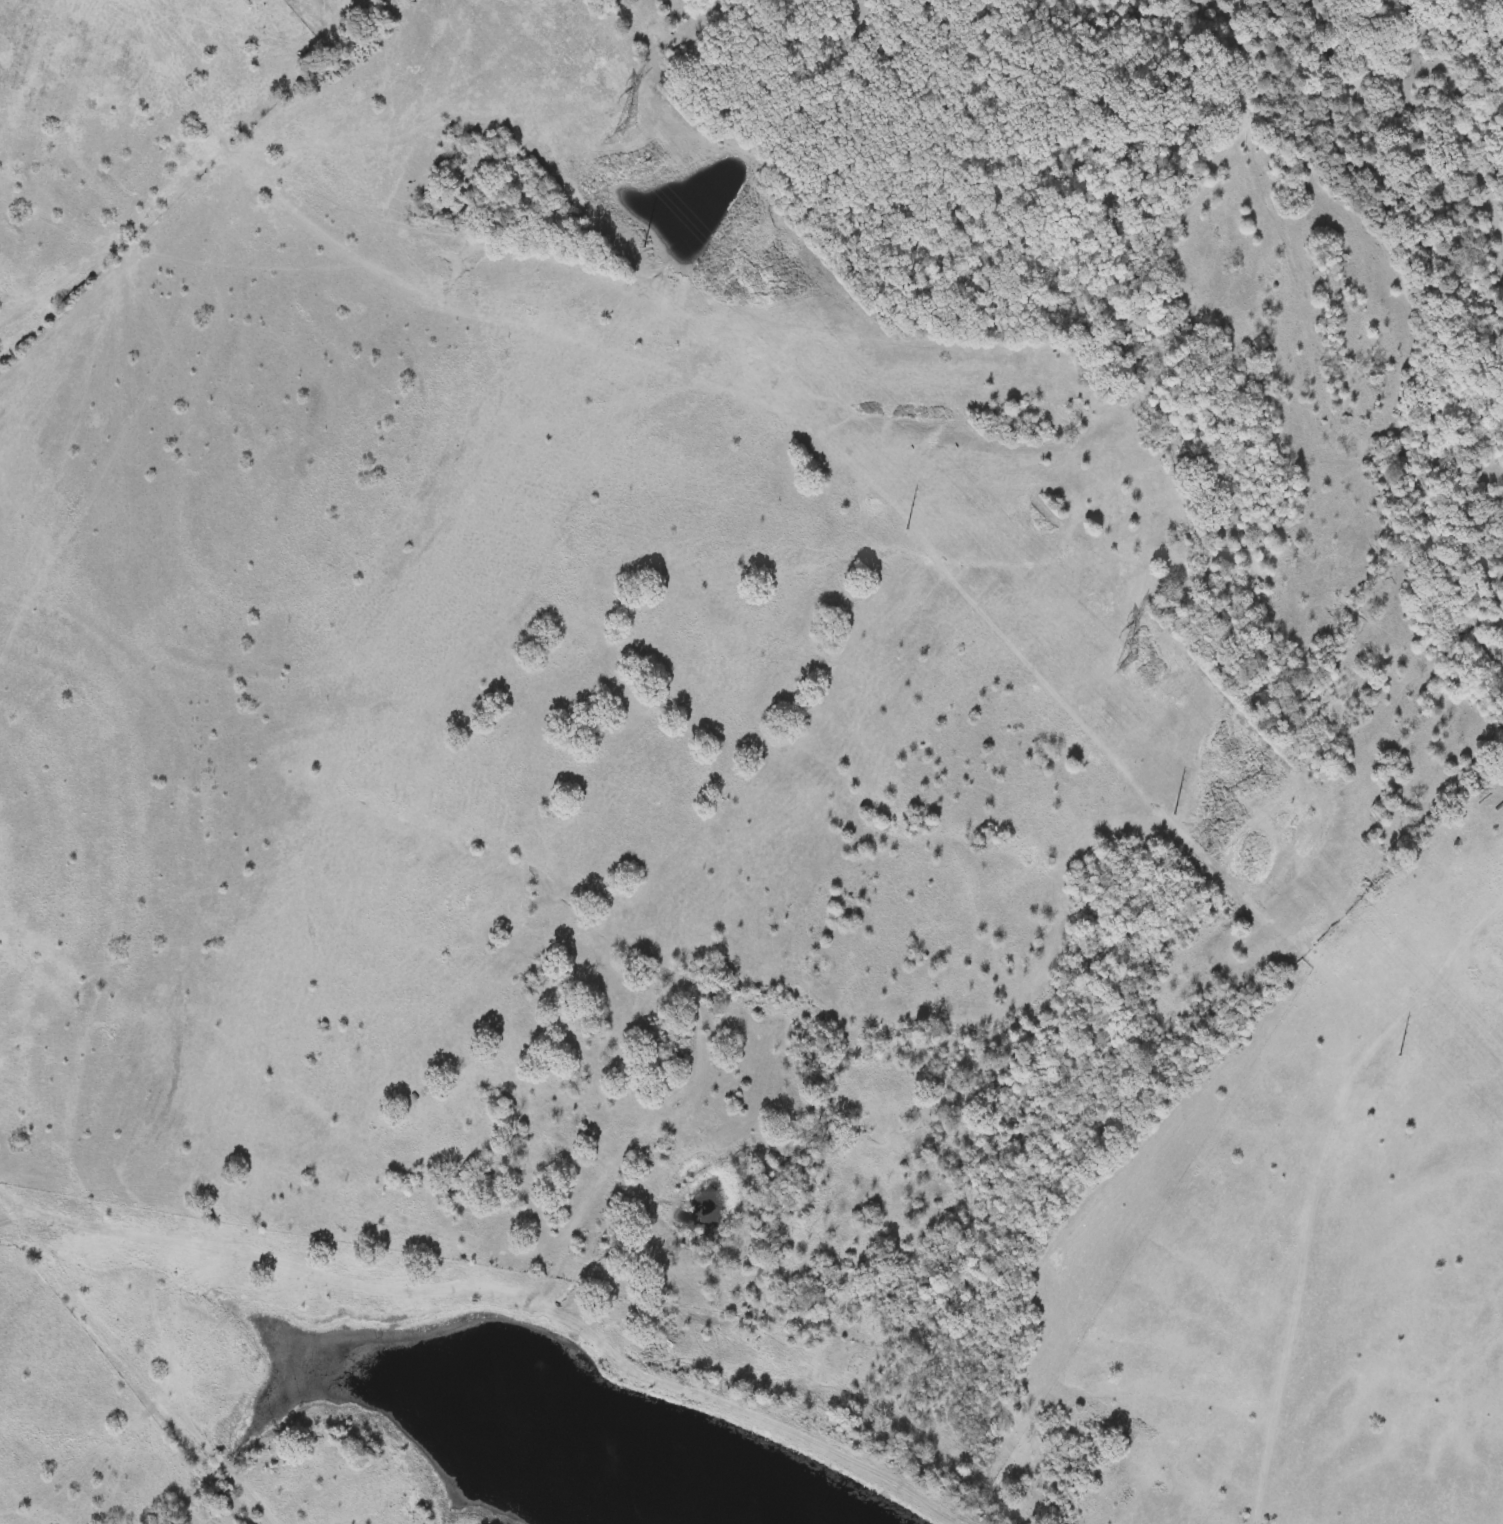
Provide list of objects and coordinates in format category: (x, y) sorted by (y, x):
power tower: (630, 125)
power tower: (1130, 662)
road: (4, 1194)

